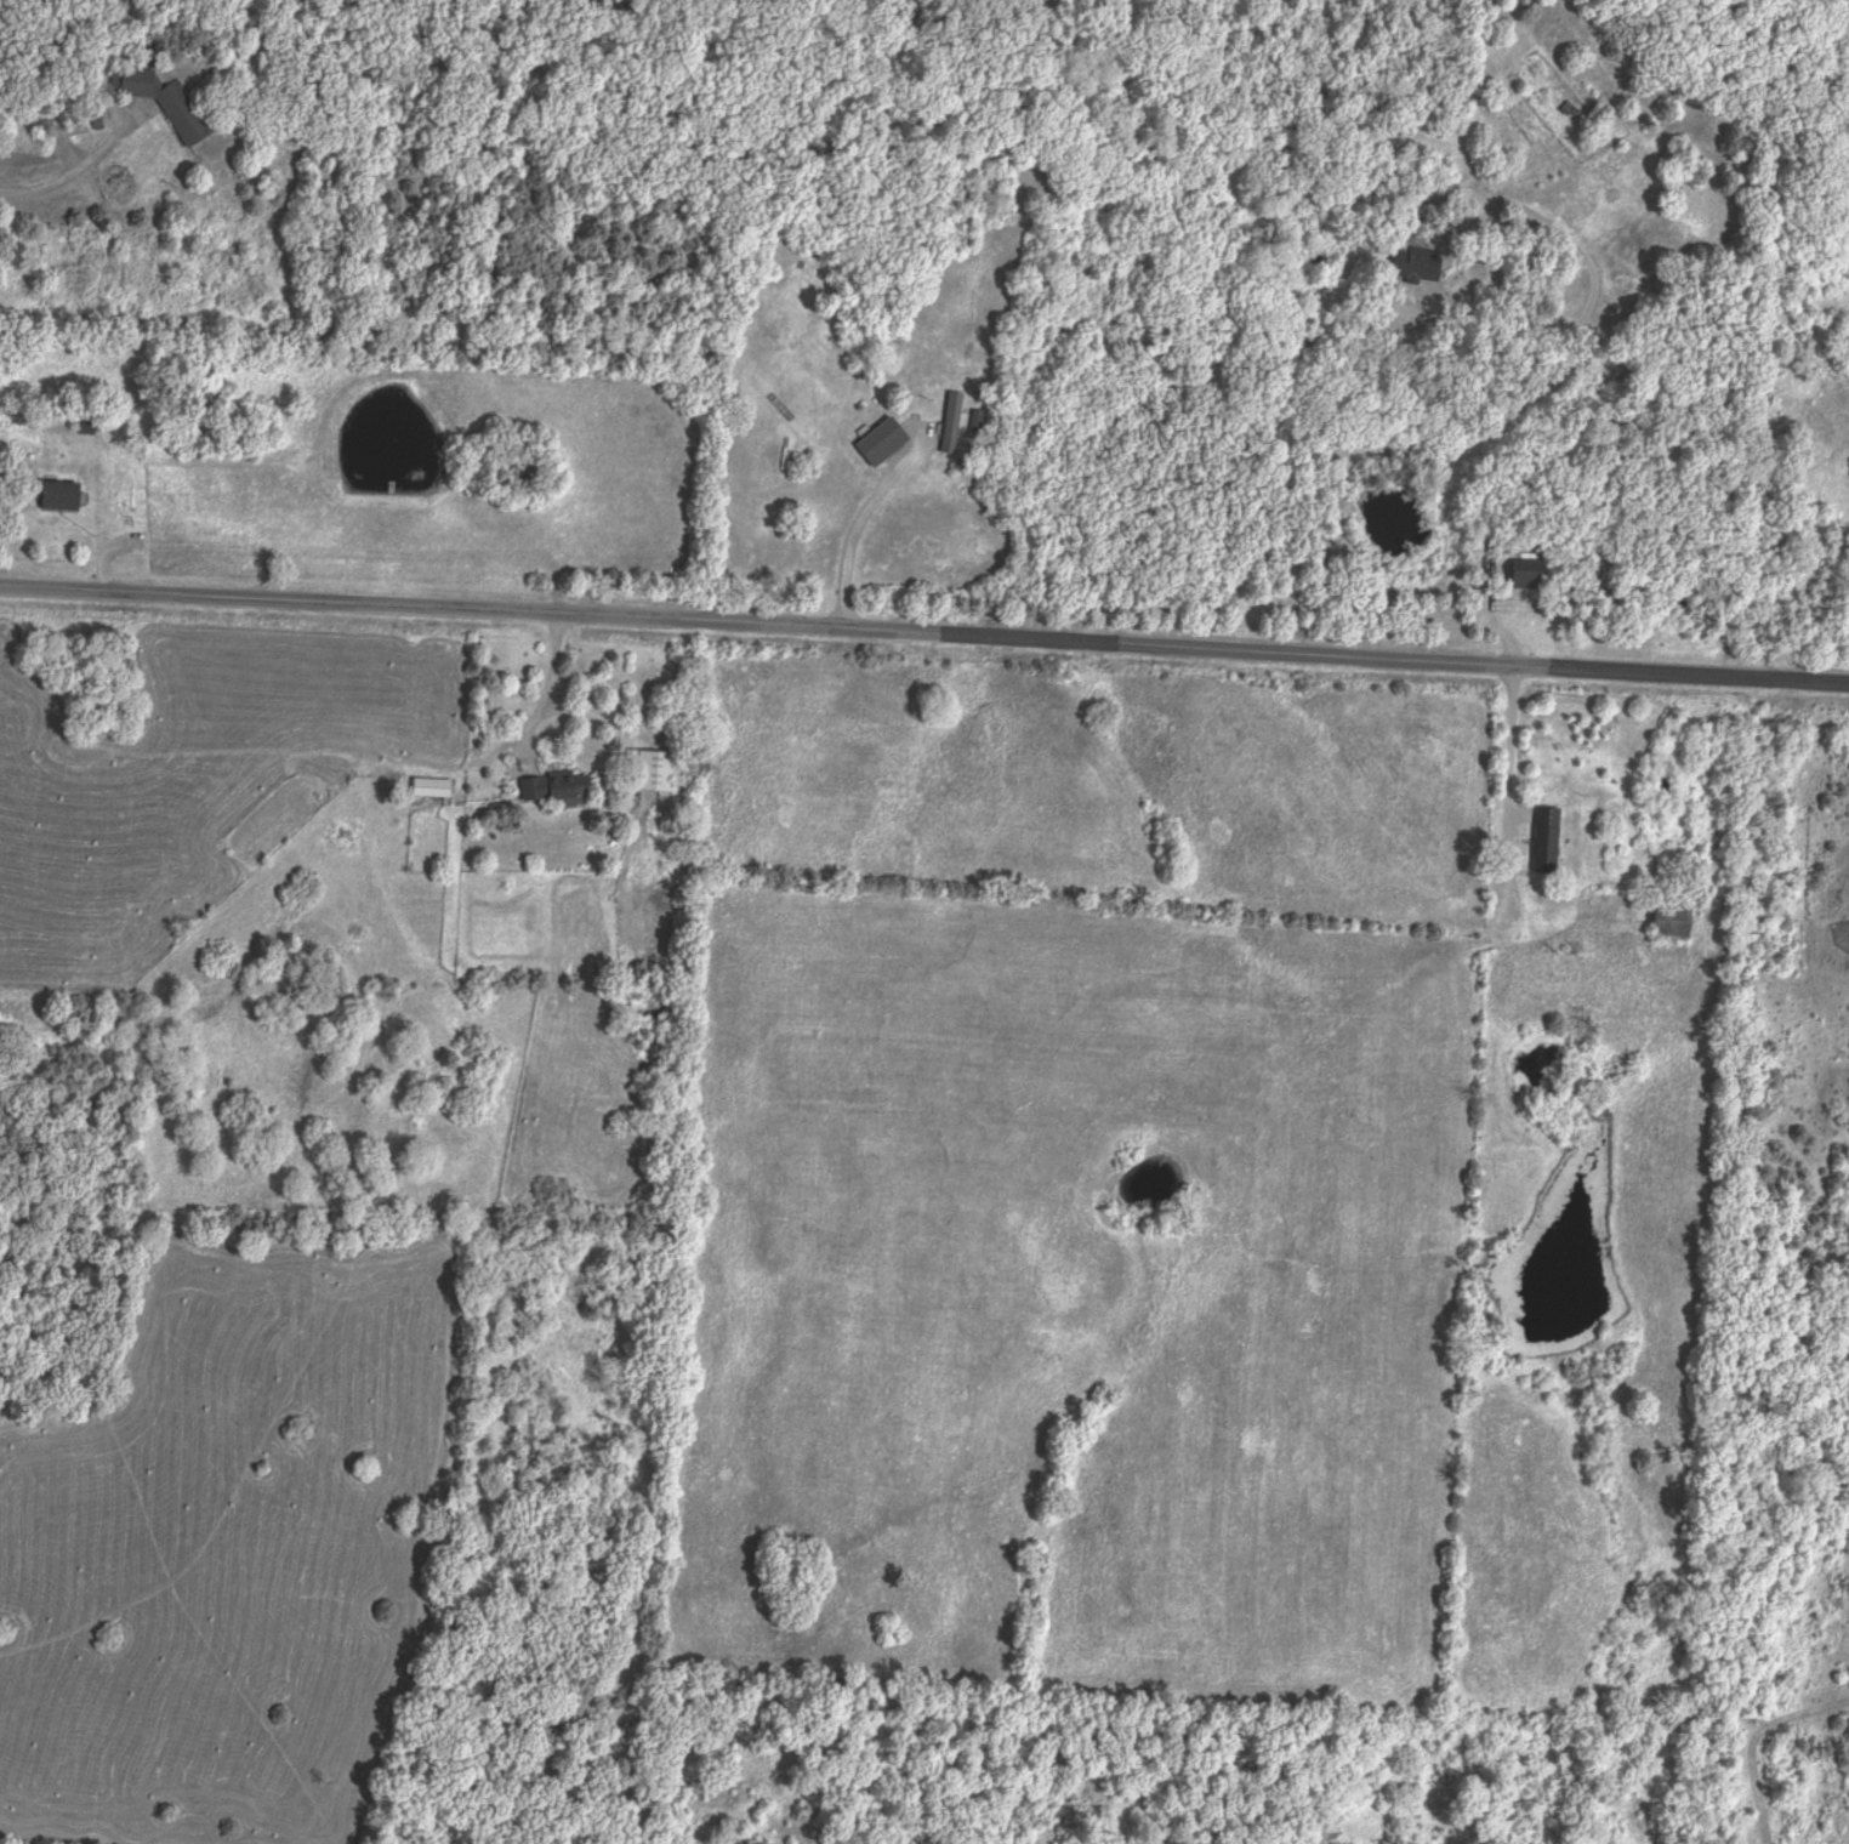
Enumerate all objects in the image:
building: (167, 103)
road: (85, 164)
building: (1409, 212)
building: (91, 423)
building: (952, 425)
building: (978, 428)
road: (1446, 483)
building: (62, 497)
road: (848, 530)
building: (1529, 581)
road: (924, 633)
road: (544, 690)
building: (655, 772)
building: (432, 789)
building: (557, 789)
building: (1547, 840)
building: (1672, 922)

